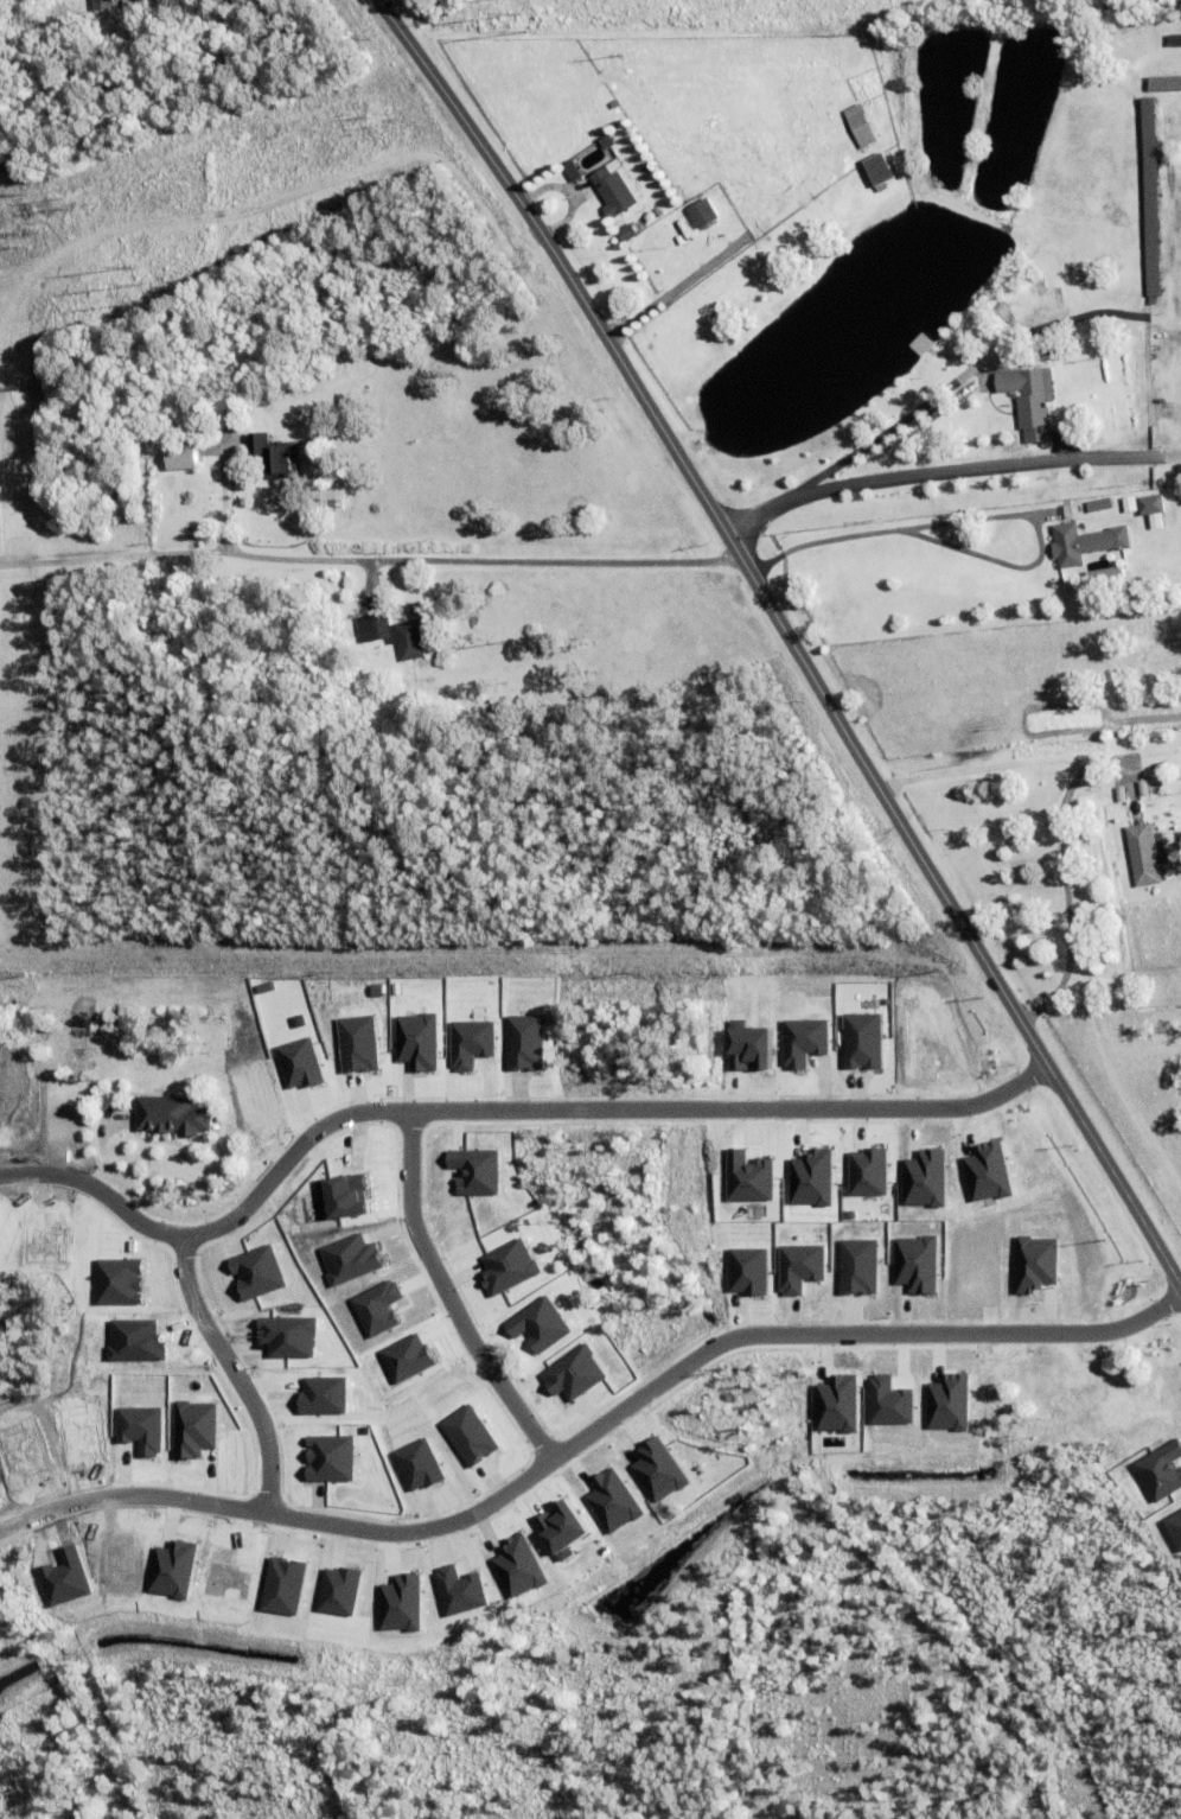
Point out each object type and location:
building: (103, 5)
power tower: (517, 17)
building: (71, 21)
building: (1174, 40)
building: (1163, 83)
building: (858, 127)
building: (606, 142)
building: (879, 171)
building: (572, 172)
building: (615, 189)
building: (1149, 195)
building: (700, 212)
building: (711, 223)
building: (626, 234)
power tower: (138, 282)
road: (668, 294)
building: (1016, 363)
building: (1029, 405)
road: (885, 434)
building: (181, 459)
building: (275, 459)
road: (957, 478)
building: (116, 491)
building: (1149, 505)
building: (1099, 507)
building: (1128, 507)
building: (1047, 516)
road: (981, 523)
building: (78, 535)
building: (1085, 545)
road: (371, 558)
building: (374, 630)
road: (787, 636)
building: (409, 638)
road: (1068, 795)
building: (1143, 857)
building: (109, 1020)
building: (803, 1041)
building: (296, 1063)
building: (172, 1112)
road: (498, 1113)
building: (866, 1172)
building: (748, 1177)
building: (923, 1178)
building: (1033, 1264)
building: (798, 1267)
road: (449, 1298)
road: (235, 1374)
road: (589, 1436)
building: (1161, 1470)
building: (1174, 1527)

